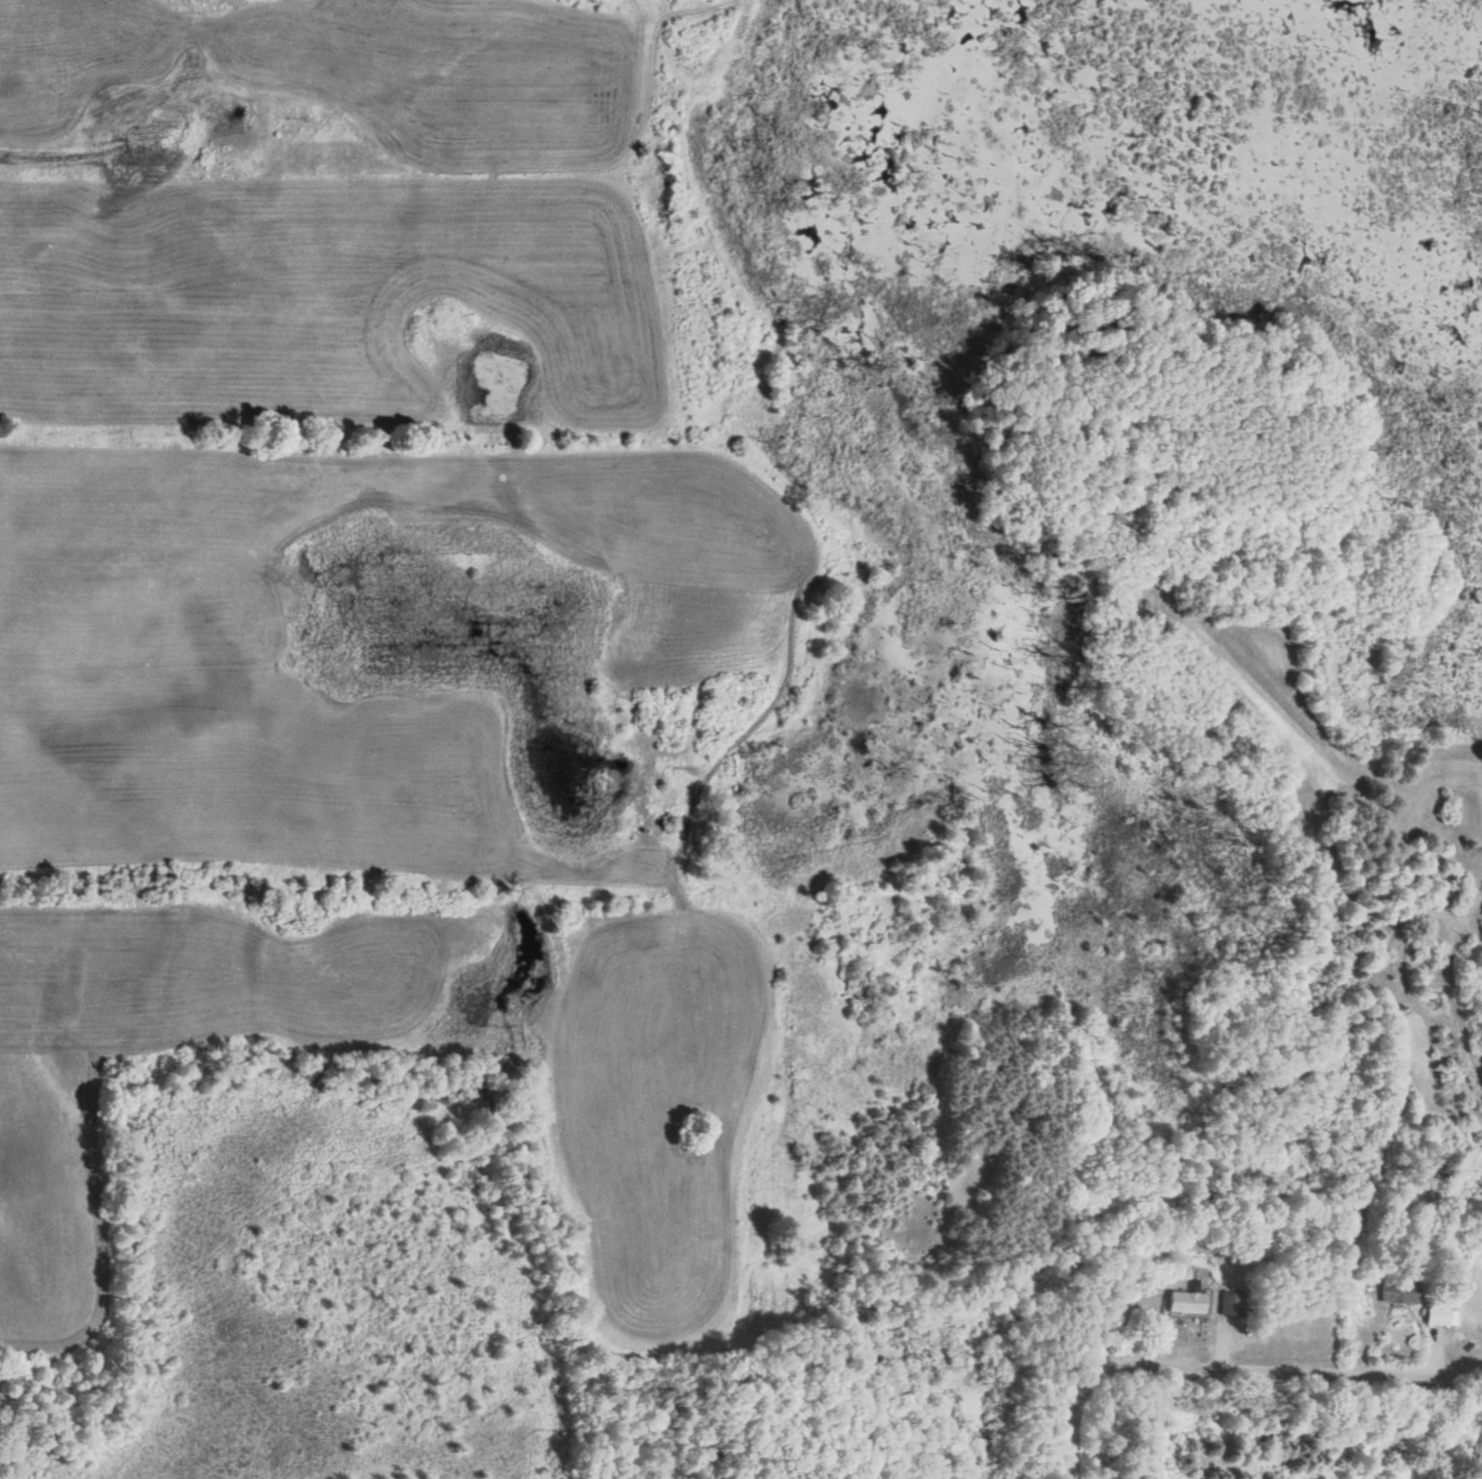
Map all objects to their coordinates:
building: (1397, 1290)
building: (1187, 1302)
building: (1230, 1304)
building: (1435, 1314)
road: (1282, 1376)
road: (1082, 1426)

